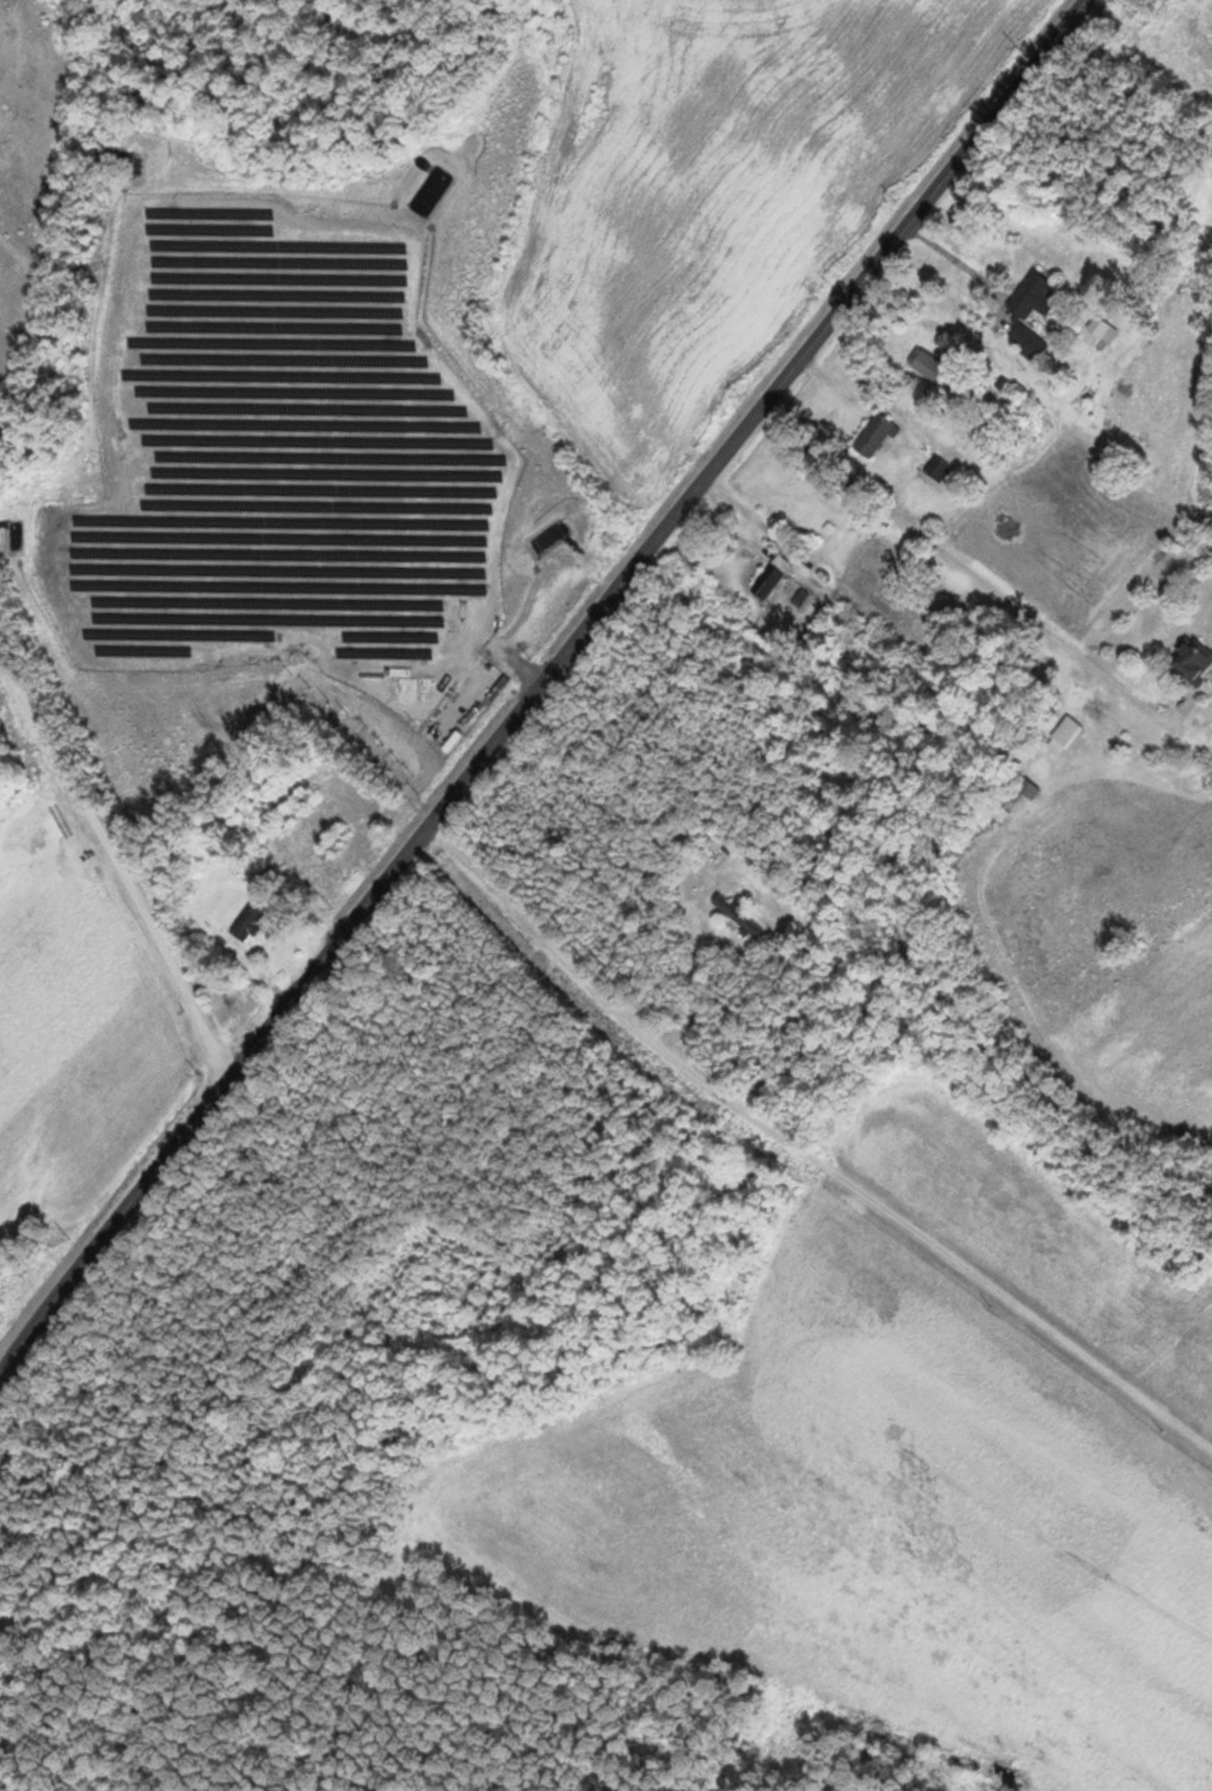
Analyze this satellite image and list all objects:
building: (1027, 314)
building: (1101, 329)
building: (925, 364)
road: (1046, 372)
building: (869, 437)
road: (946, 546)
building: (764, 581)
building: (1191, 660)
road: (539, 686)
building: (1062, 735)
building: (293, 809)
building: (331, 844)
road: (130, 852)
building: (736, 913)
building: (245, 924)
road: (807, 1151)

